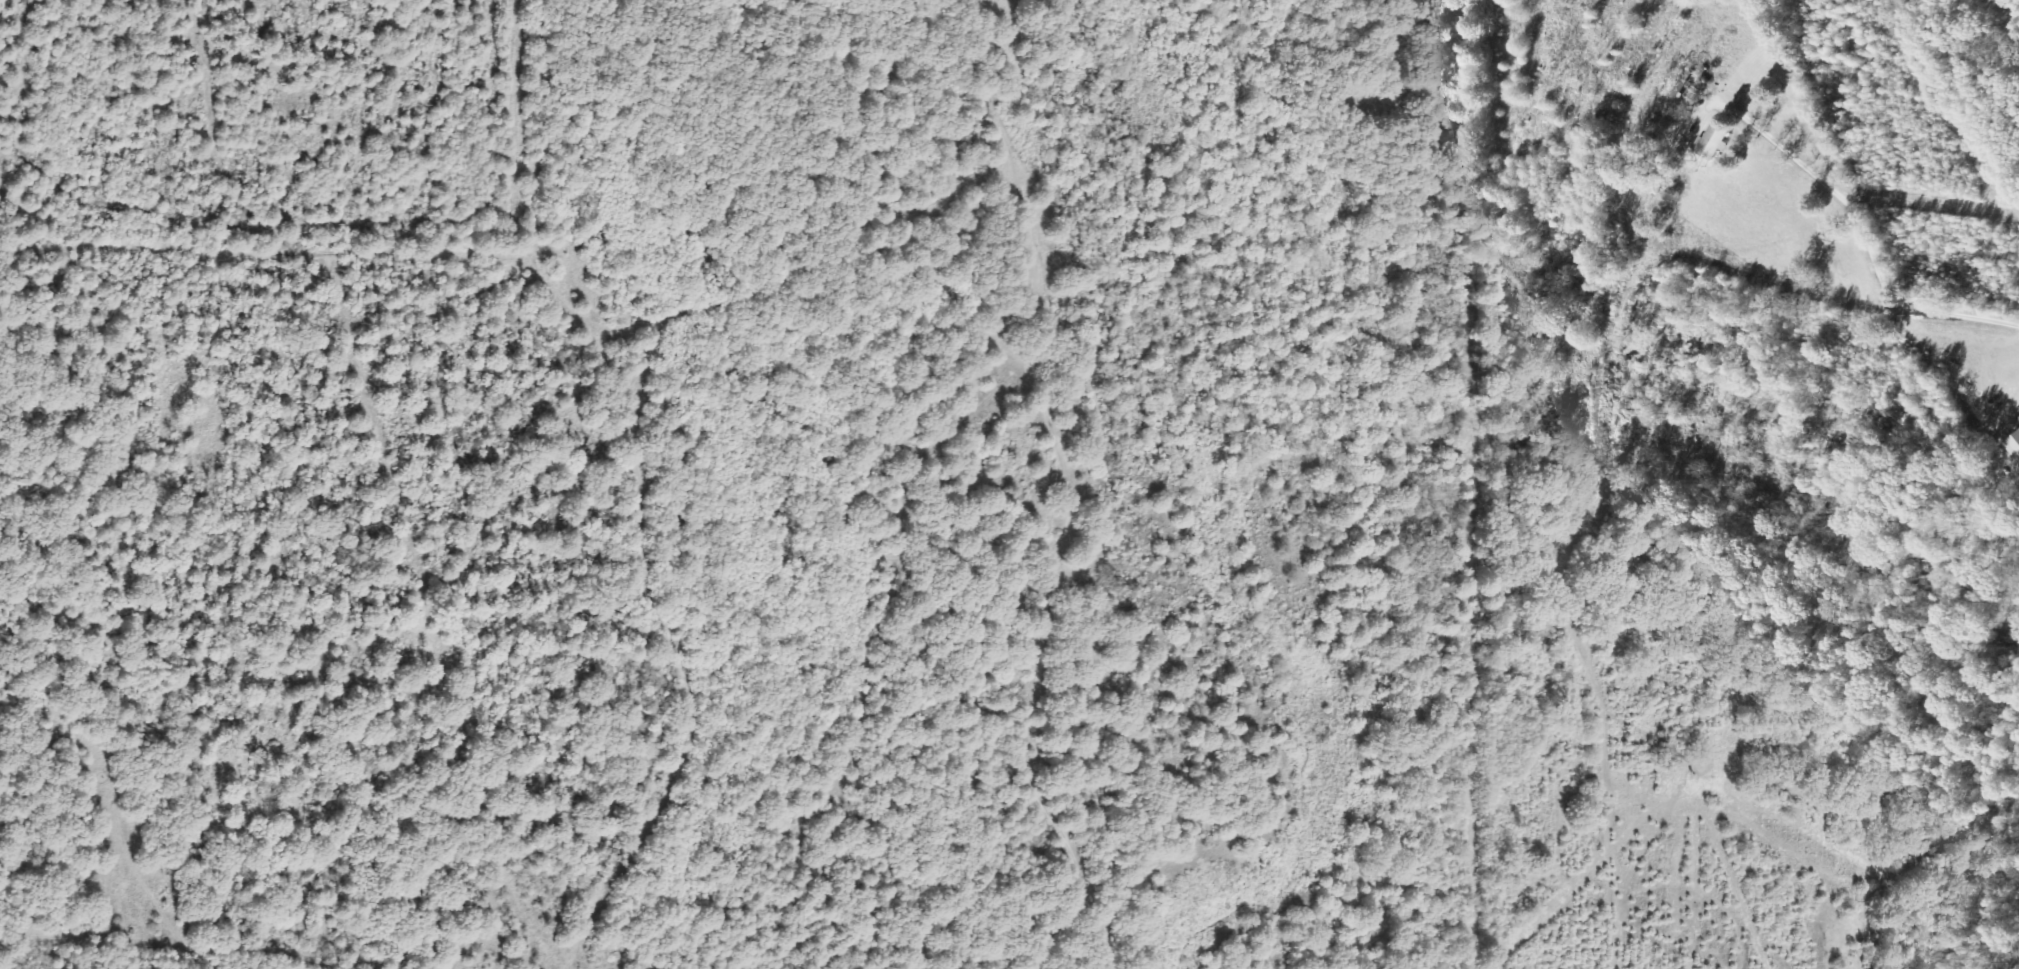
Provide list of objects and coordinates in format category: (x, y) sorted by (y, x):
building: (1713, 138)
building: (2013, 445)
road: (1977, 795)

